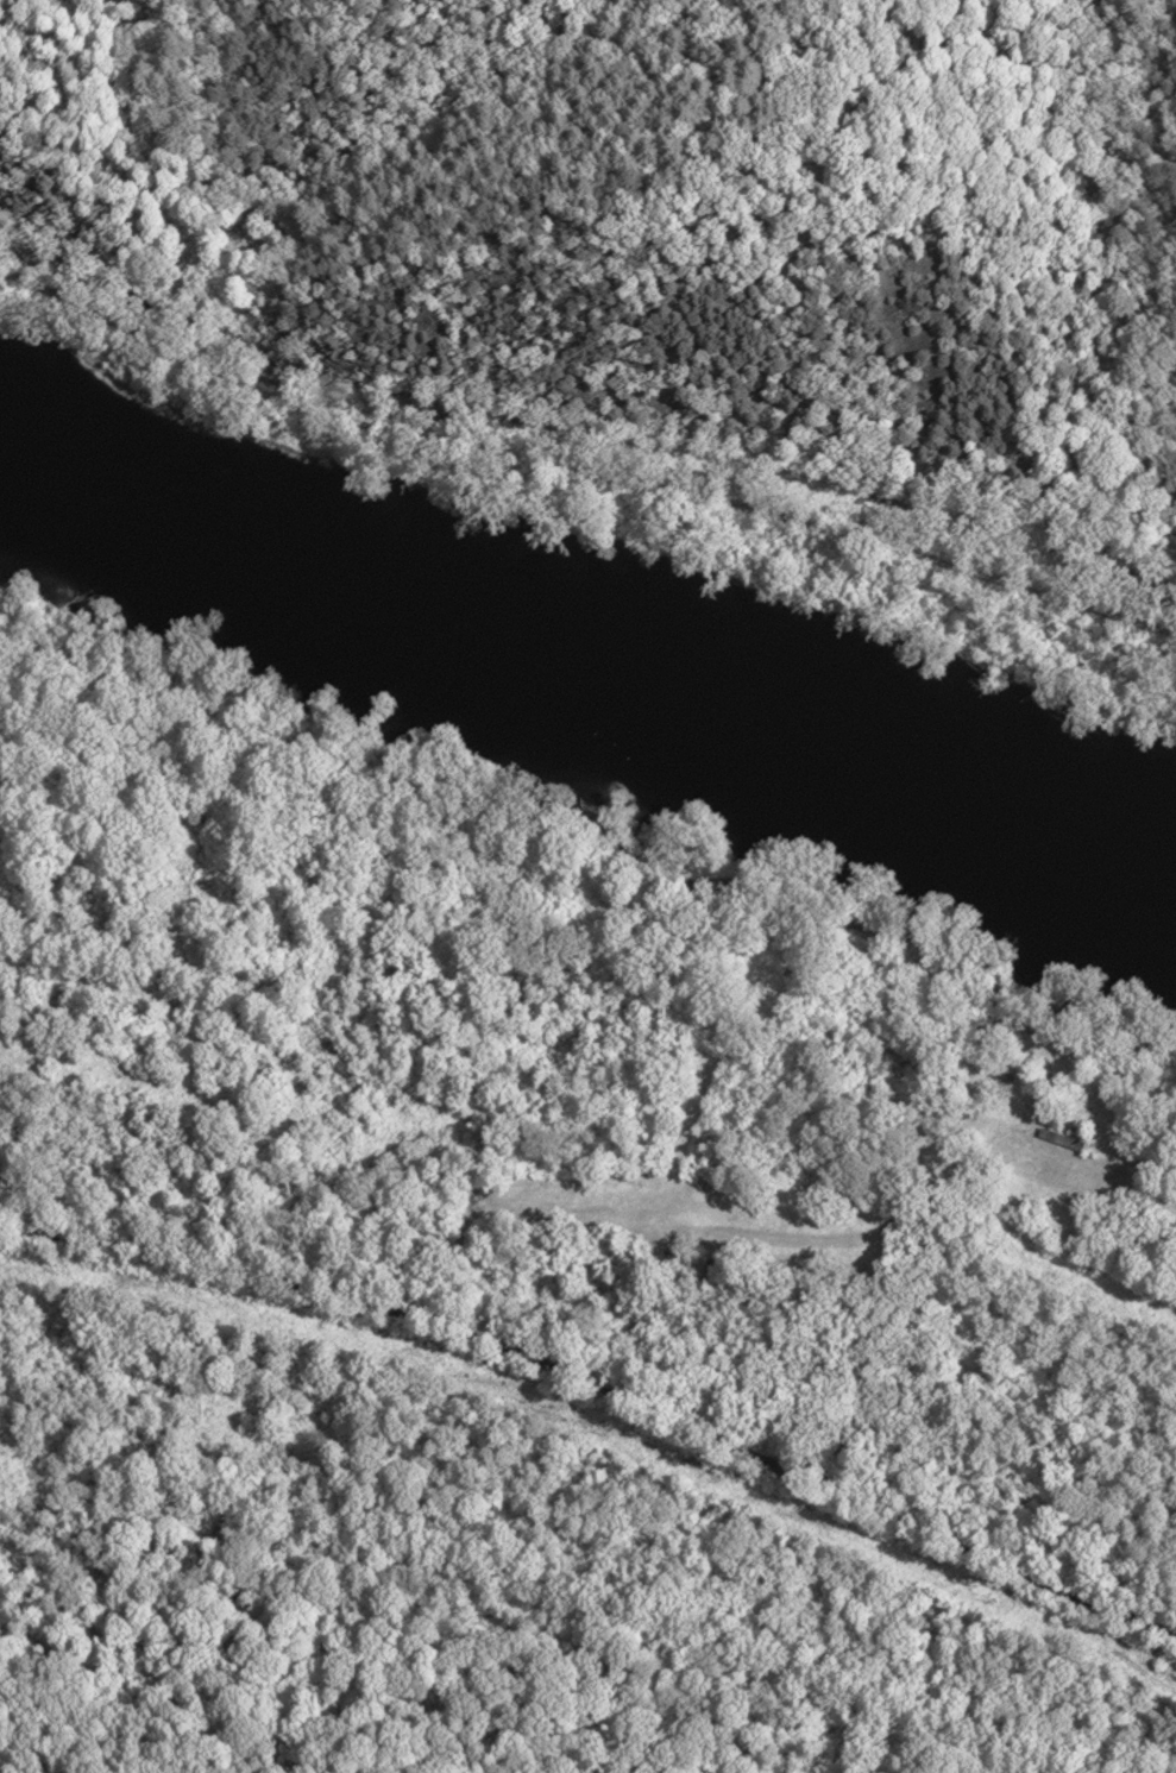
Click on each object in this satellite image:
road: (580, 473)
river: (338, 581)
river: (933, 785)
building: (1061, 1139)
building: (716, 1270)
road: (603, 1390)
road: (52, 1665)
road: (52, 1679)
road: (385, 1703)

